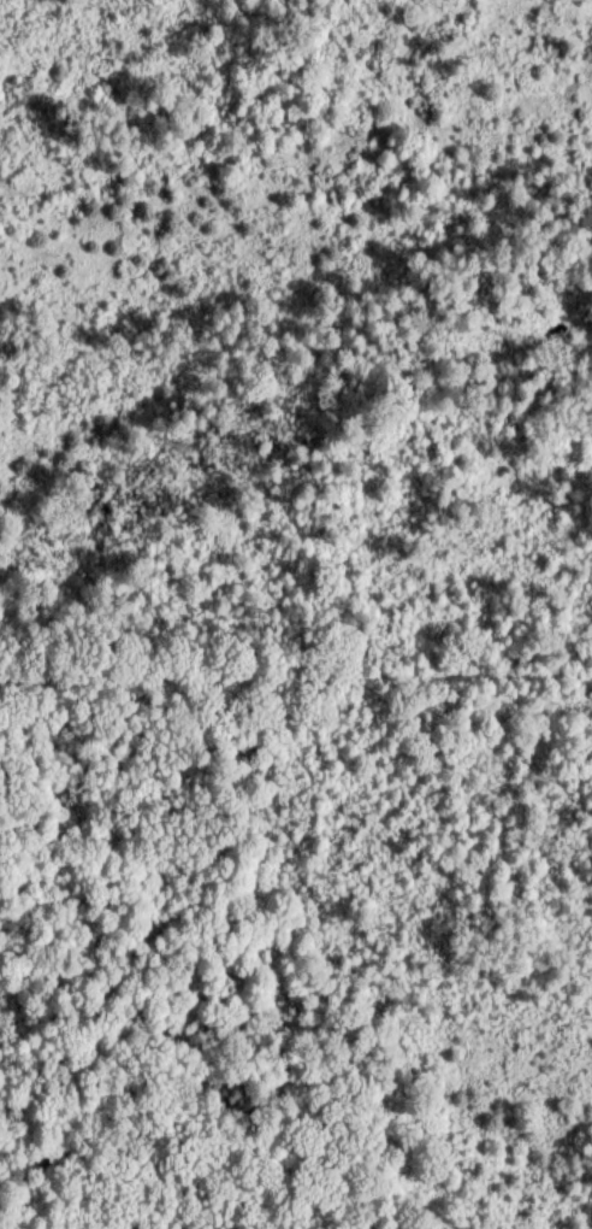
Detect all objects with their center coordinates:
road: (296, 687)

